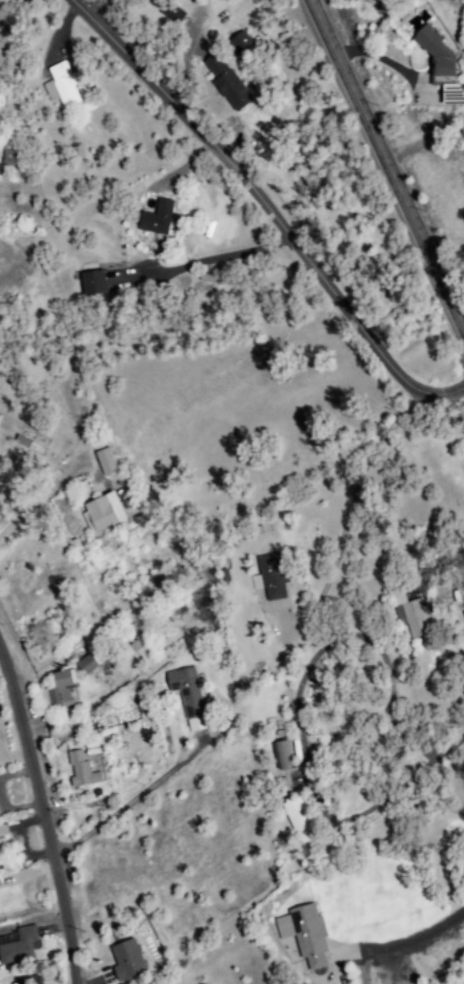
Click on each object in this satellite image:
building: (174, 10)
building: (238, 43)
building: (434, 52)
building: (225, 82)
building: (60, 87)
road: (388, 161)
road: (267, 208)
building: (155, 219)
building: (92, 283)
road: (100, 340)
building: (104, 463)
road: (372, 498)
building: (101, 513)
building: (269, 578)
building: (463, 613)
building: (408, 614)
building: (57, 692)
building: (185, 692)
building: (278, 756)
building: (80, 771)
road: (121, 805)
road: (43, 815)
building: (296, 820)
building: (0, 887)
road: (428, 930)
building: (304, 935)
building: (16, 946)
building: (128, 959)

